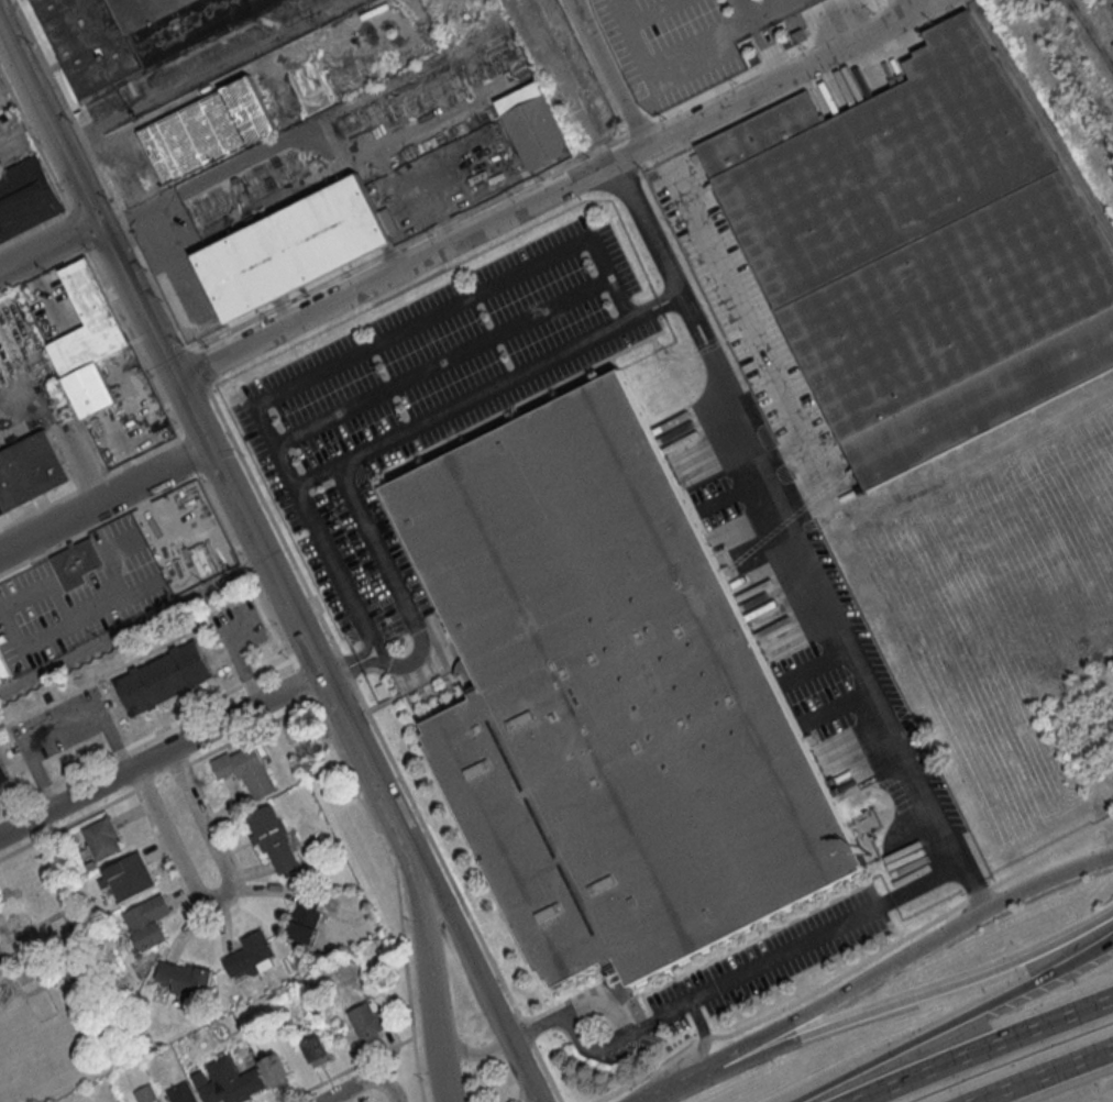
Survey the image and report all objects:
road: (751, 10)
road: (757, 21)
building: (131, 32)
road: (779, 63)
road: (693, 68)
road: (206, 74)
road: (776, 79)
building: (532, 126)
building: (206, 128)
road: (47, 129)
building: (25, 196)
road: (162, 238)
road: (652, 238)
road: (47, 245)
building: (291, 247)
building: (923, 255)
road: (695, 260)
road: (407, 264)
road: (691, 315)
road: (637, 316)
road: (152, 333)
building: (87, 340)
road: (445, 359)
parking lot: (425, 400)
building: (31, 471)
road: (318, 476)
road: (103, 499)
building: (186, 532)
building: (76, 562)
road: (348, 584)
road: (294, 621)
road: (133, 630)
road: (850, 633)
road: (352, 661)
road: (818, 663)
building: (4, 669)
road: (355, 670)
building: (164, 677)
building: (611, 699)
road: (838, 704)
road: (58, 726)
road: (159, 752)
building: (246, 770)
building: (3, 775)
building: (102, 839)
building: (274, 839)
building: (126, 877)
road: (218, 895)
building: (306, 919)
building: (147, 922)
road: (423, 946)
road: (463, 948)
building: (251, 954)
road: (902, 959)
building: (186, 978)
road: (734, 979)
park: (56, 988)
road: (908, 999)
building: (367, 1021)
road: (955, 1021)
building: (316, 1049)
road: (983, 1049)
road: (474, 1054)
building: (275, 1069)
road: (1043, 1075)
building: (228, 1081)
road: (670, 1088)
building: (181, 1093)
building: (145, 1094)

